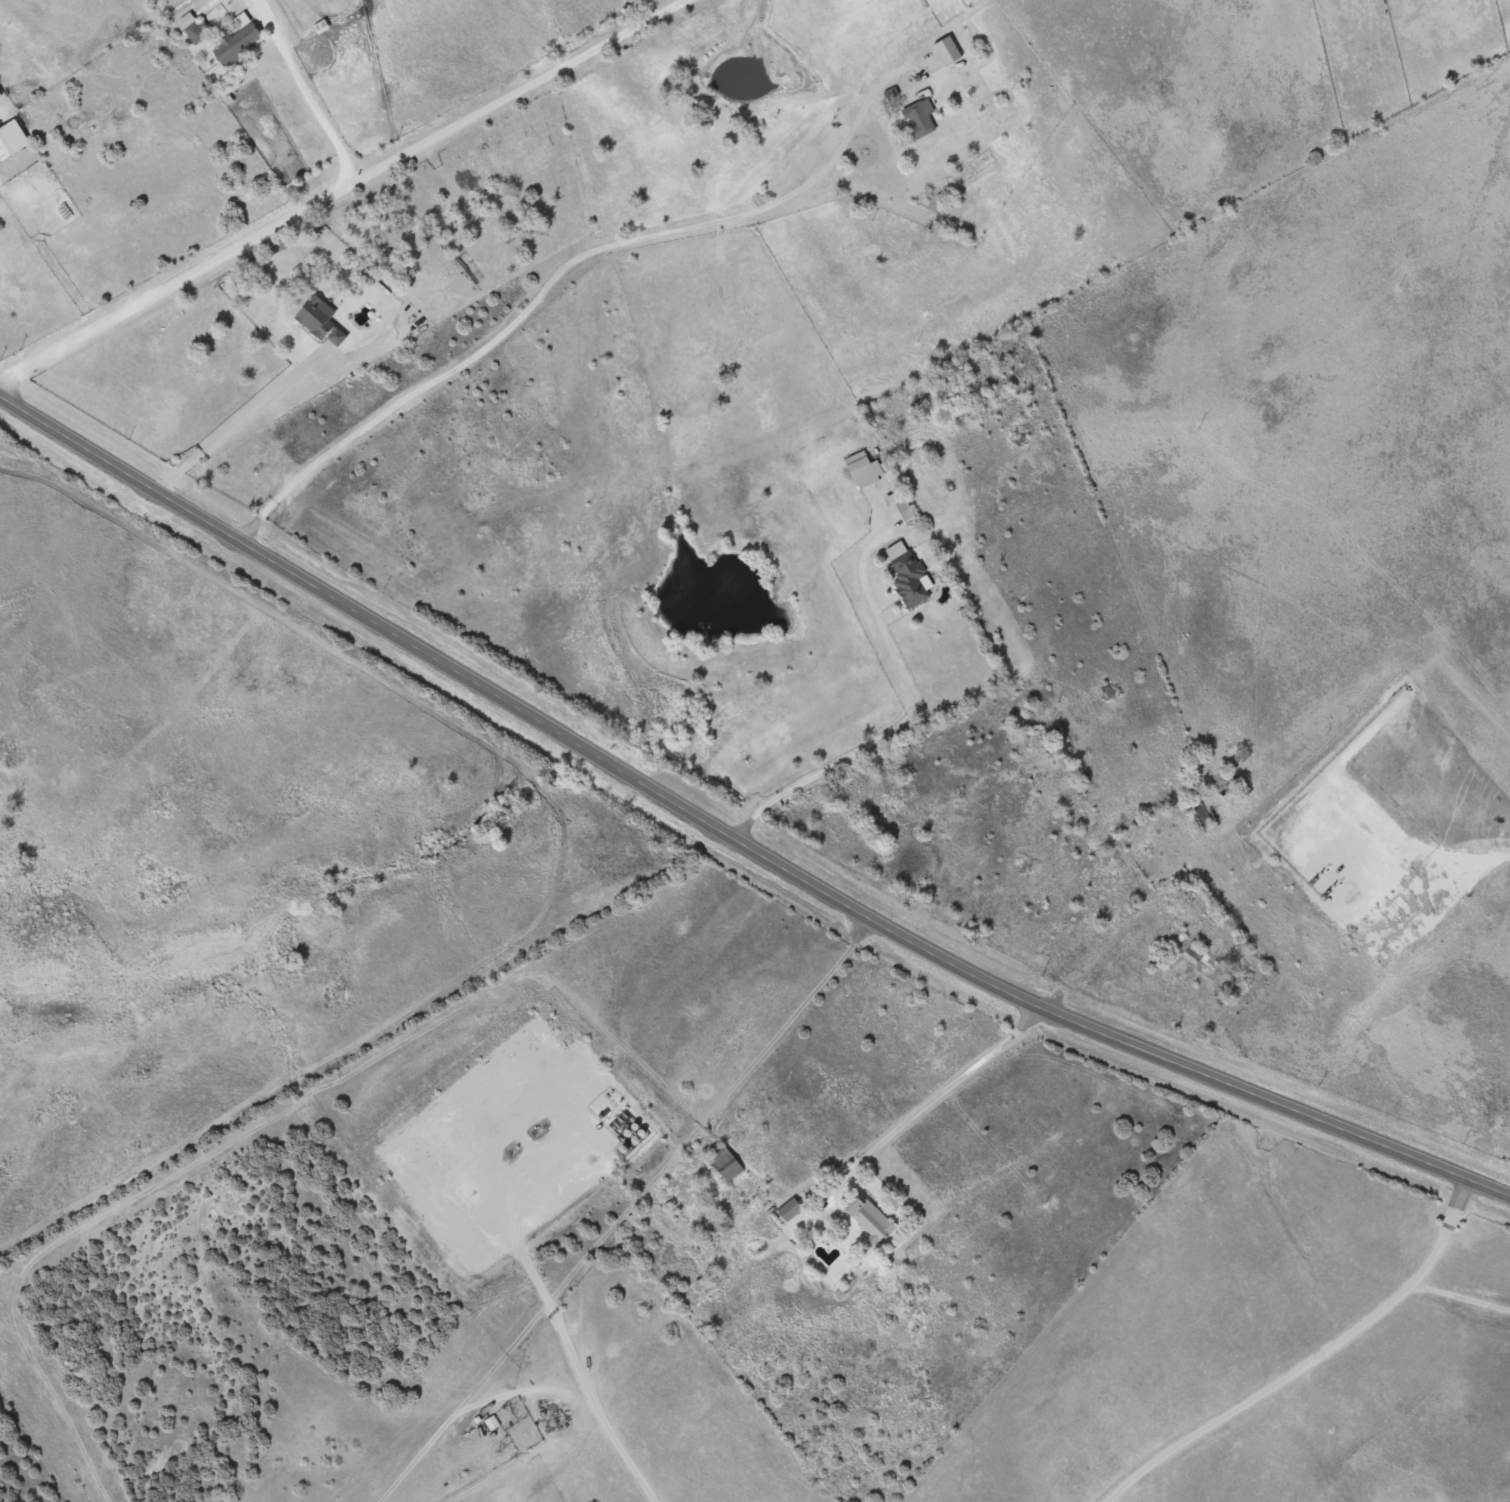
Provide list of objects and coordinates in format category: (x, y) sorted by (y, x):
building: (192, 29)
building: (236, 42)
building: (944, 52)
road: (302, 91)
building: (917, 119)
building: (10, 140)
road: (825, 157)
road: (338, 190)
building: (318, 322)
road: (490, 340)
road: (230, 424)
building: (861, 471)
building: (904, 571)
road: (909, 719)
road: (733, 846)
road: (1486, 857)
building: (1200, 961)
road: (693, 1140)
building: (724, 1165)
road: (835, 1183)
road: (1457, 1203)
building: (788, 1211)
building: (866, 1219)
road: (571, 1353)
road: (1287, 1373)
road: (531, 1393)

